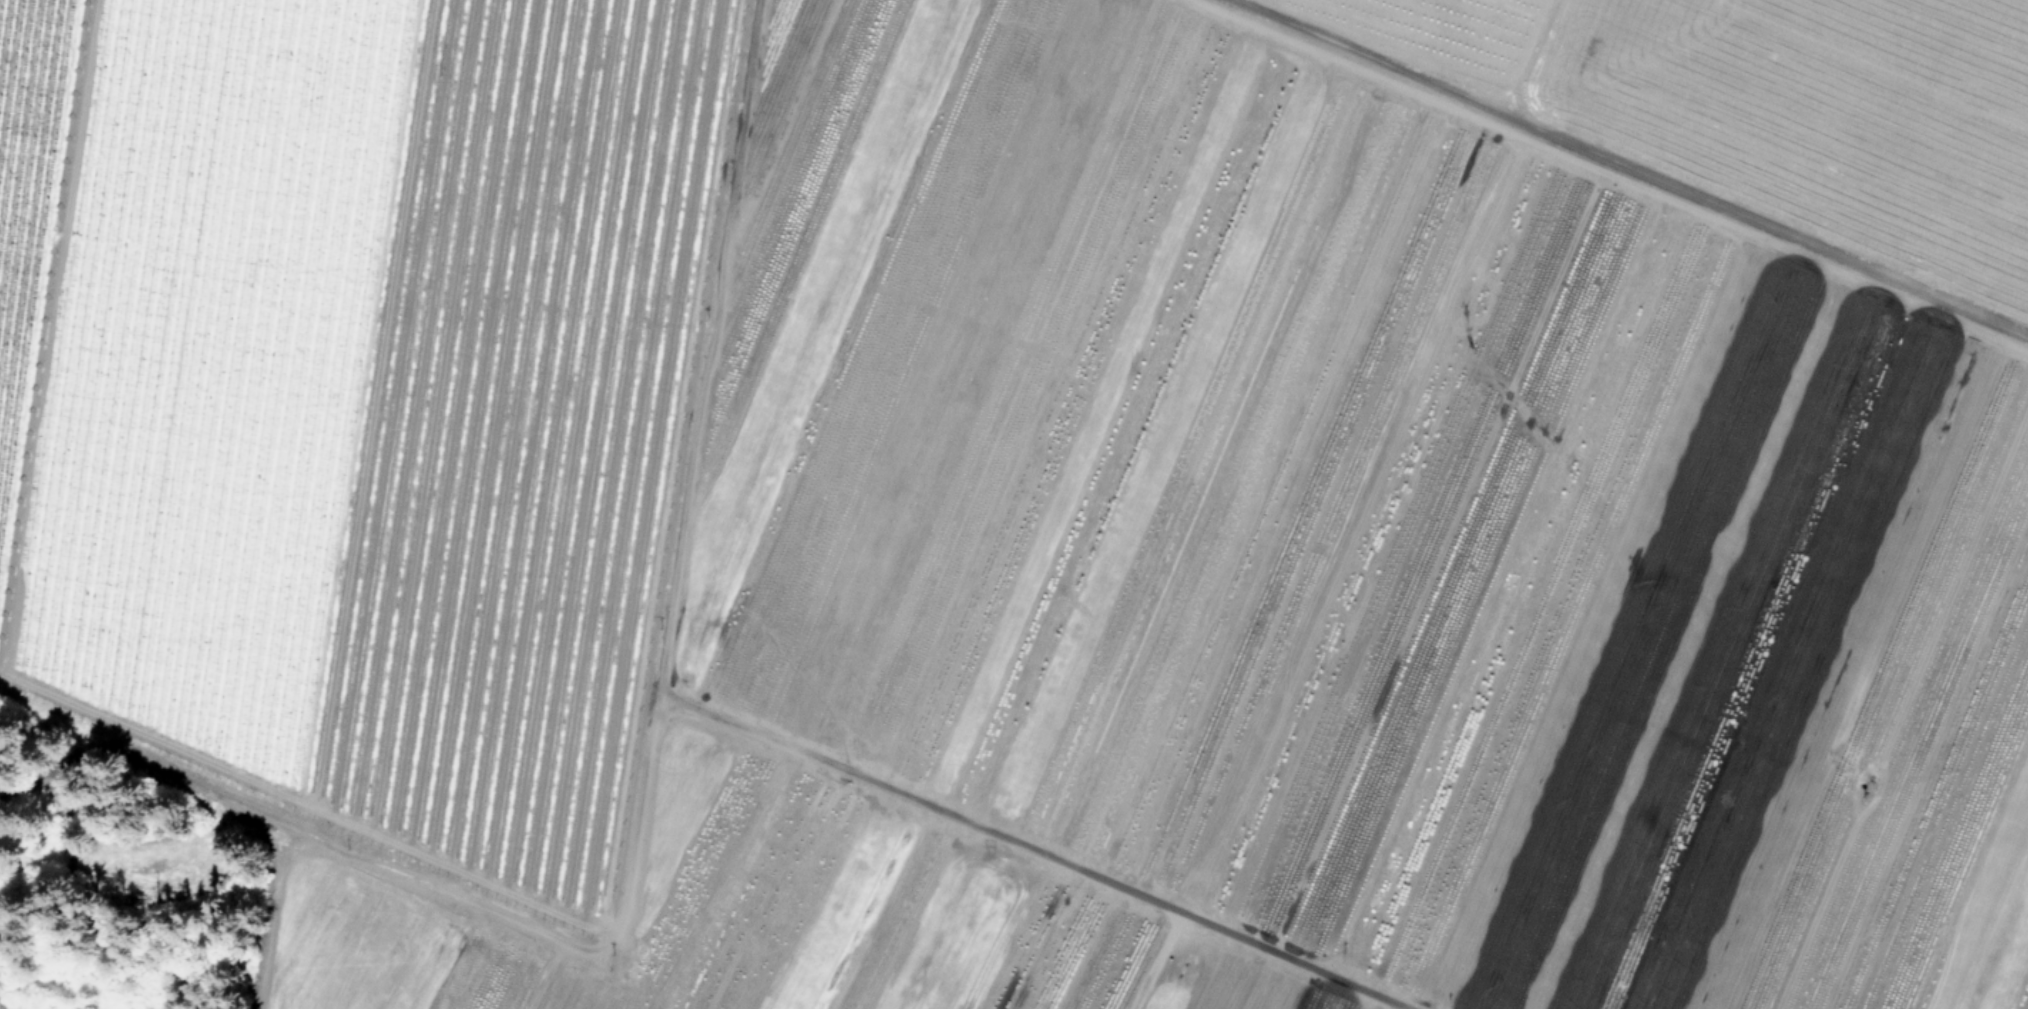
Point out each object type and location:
building: (487, 20)
building: (330, 24)
crop: (490, 29)
road: (408, 55)
road: (1626, 168)
crop: (27, 206)
building: (332, 417)
crop: (365, 431)
crop: (1326, 519)
road: (626, 784)

